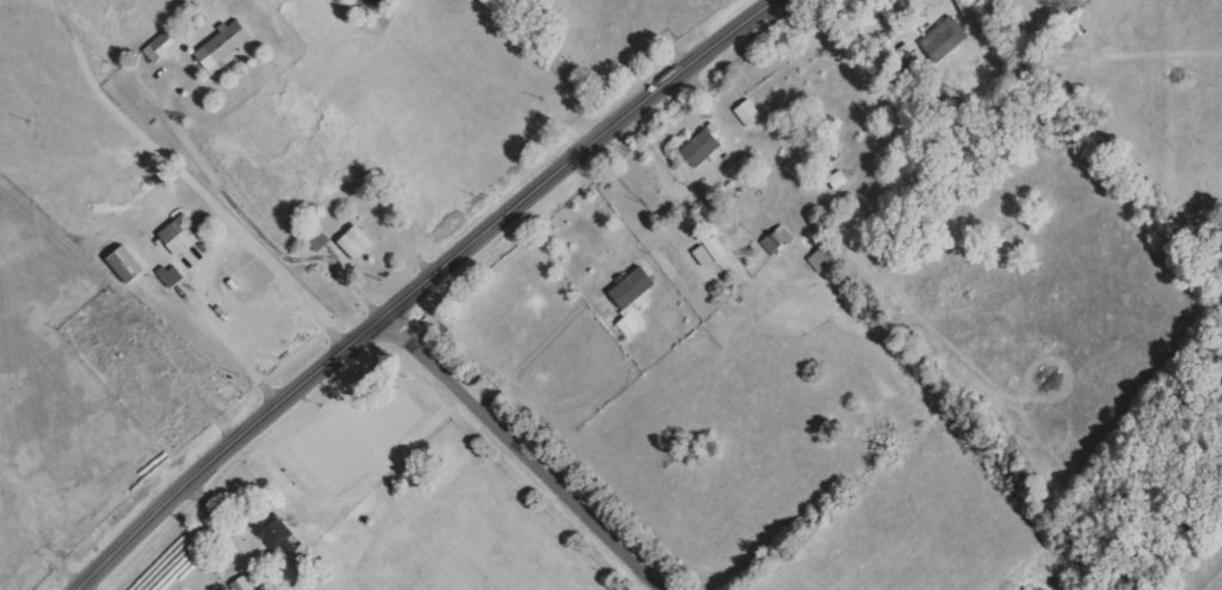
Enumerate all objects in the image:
building: (943, 39)
building: (165, 46)
building: (227, 46)
building: (751, 113)
road: (137, 128)
building: (705, 148)
road: (249, 221)
building: (786, 234)
building: (185, 235)
building: (362, 243)
building: (776, 243)
road: (211, 249)
building: (130, 266)
building: (637, 287)
road: (421, 288)
building: (632, 327)
road: (532, 451)
building: (280, 534)
building: (247, 584)

